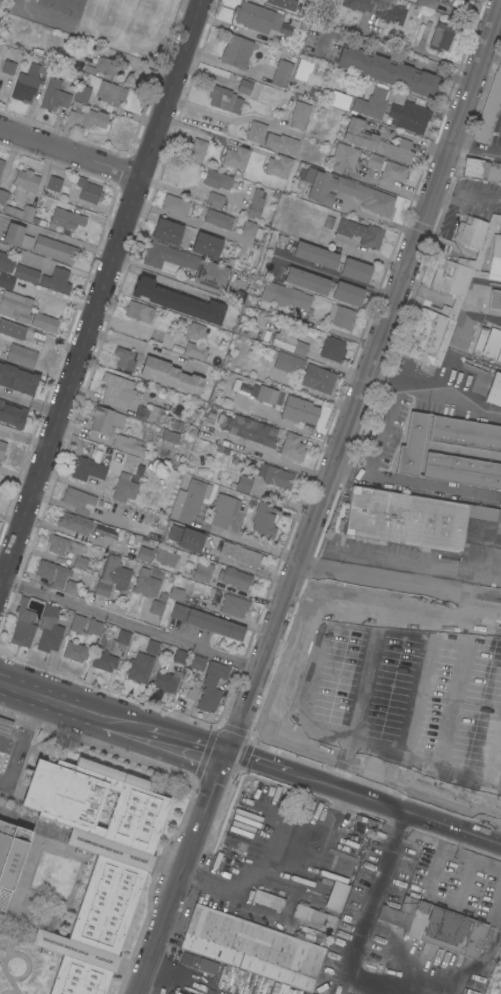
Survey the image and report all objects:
building: (30, 0)
building: (412, 0)
building: (283, 3)
building: (427, 3)
building: (358, 4)
building: (456, 4)
building: (390, 12)
building: (257, 17)
building: (283, 27)
building: (441, 36)
building: (236, 51)
road: (408, 51)
building: (74, 62)
building: (8, 67)
building: (303, 69)
building: (388, 71)
building: (280, 73)
building: (29, 81)
building: (244, 86)
building: (81, 93)
building: (111, 93)
building: (54, 96)
building: (225, 99)
building: (339, 100)
building: (371, 103)
building: (489, 107)
building: (299, 114)
building: (410, 115)
road: (222, 117)
building: (86, 119)
road: (195, 129)
building: (256, 132)
building: (376, 141)
building: (281, 143)
building: (194, 149)
road: (70, 152)
road: (474, 152)
building: (236, 157)
building: (343, 158)
building: (374, 161)
building: (1, 164)
building: (278, 166)
building: (482, 169)
building: (392, 172)
building: (217, 179)
building: (26, 180)
building: (53, 183)
road: (386, 187)
building: (88, 191)
road: (190, 192)
building: (346, 192)
building: (3, 196)
building: (215, 200)
building: (255, 203)
building: (176, 205)
building: (20, 212)
building: (67, 218)
building: (219, 219)
road: (380, 221)
building: (328, 222)
road: (195, 224)
building: (249, 228)
building: (167, 231)
building: (361, 233)
building: (17, 236)
road: (56, 236)
building: (281, 236)
building: (206, 245)
building: (54, 249)
building: (315, 255)
building: (6, 263)
road: (52, 263)
building: (186, 265)
building: (356, 270)
building: (26, 274)
road: (334, 278)
building: (56, 280)
building: (306, 280)
building: (6, 281)
road: (164, 281)
building: (453, 289)
road: (100, 291)
building: (252, 292)
building: (348, 293)
building: (289, 297)
road: (56, 298)
building: (495, 299)
building: (178, 301)
building: (15, 307)
building: (139, 311)
building: (341, 316)
building: (44, 323)
road: (125, 323)
building: (11, 329)
building: (244, 331)
building: (196, 332)
road: (335, 332)
building: (480, 339)
building: (287, 341)
building: (492, 343)
road: (140, 347)
building: (333, 349)
building: (195, 350)
building: (21, 356)
building: (499, 356)
building: (124, 358)
building: (289, 363)
road: (385, 373)
building: (169, 375)
building: (318, 378)
building: (18, 379)
road: (405, 385)
building: (245, 387)
building: (494, 390)
building: (118, 391)
building: (254, 391)
building: (266, 395)
road: (29, 403)
building: (299, 411)
building: (150, 413)
building: (211, 413)
building: (12, 414)
building: (221, 417)
building: (105, 419)
building: (176, 425)
building: (250, 430)
building: (465, 433)
building: (173, 437)
road: (24, 438)
building: (127, 444)
building: (411, 445)
building: (292, 447)
building: (2, 450)
road: (277, 459)
building: (87, 469)
building: (462, 470)
building: (274, 476)
road: (416, 482)
building: (243, 483)
road: (16, 484)
building: (124, 488)
road: (320, 498)
building: (77, 500)
building: (189, 500)
building: (225, 504)
building: (410, 518)
building: (218, 519)
building: (263, 519)
building: (75, 523)
building: (106, 532)
building: (174, 532)
road: (72, 535)
building: (191, 540)
road: (250, 542)
building: (68, 550)
building: (240, 553)
building: (144, 554)
road: (4, 555)
building: (166, 557)
building: (201, 571)
building: (52, 572)
building: (112, 576)
building: (234, 578)
road: (369, 578)
building: (145, 583)
building: (72, 588)
building: (176, 594)
building: (234, 606)
building: (156, 607)
road: (448, 609)
building: (207, 622)
road: (130, 623)
building: (77, 624)
building: (23, 625)
building: (93, 627)
building: (49, 630)
building: (351, 630)
building: (123, 639)
building: (152, 647)
building: (75, 652)
building: (180, 657)
building: (104, 661)
building: (197, 665)
building: (139, 667)
road: (366, 680)
building: (165, 682)
road: (306, 684)
building: (389, 685)
building: (212, 686)
road: (416, 693)
building: (191, 694)
road: (456, 697)
road: (55, 699)
parking lot: (9, 731)
road: (168, 735)
road: (23, 744)
road: (11, 745)
traffic signals: (225, 752)
building: (483, 757)
road: (495, 760)
parking lot: (4, 761)
road: (257, 762)
building: (432, 780)
road: (395, 807)
road: (297, 850)
building: (11, 853)
building: (96, 862)
road: (375, 893)
building: (268, 900)
building: (322, 906)
road: (267, 915)
building: (437, 926)
building: (252, 948)
building: (199, 963)

